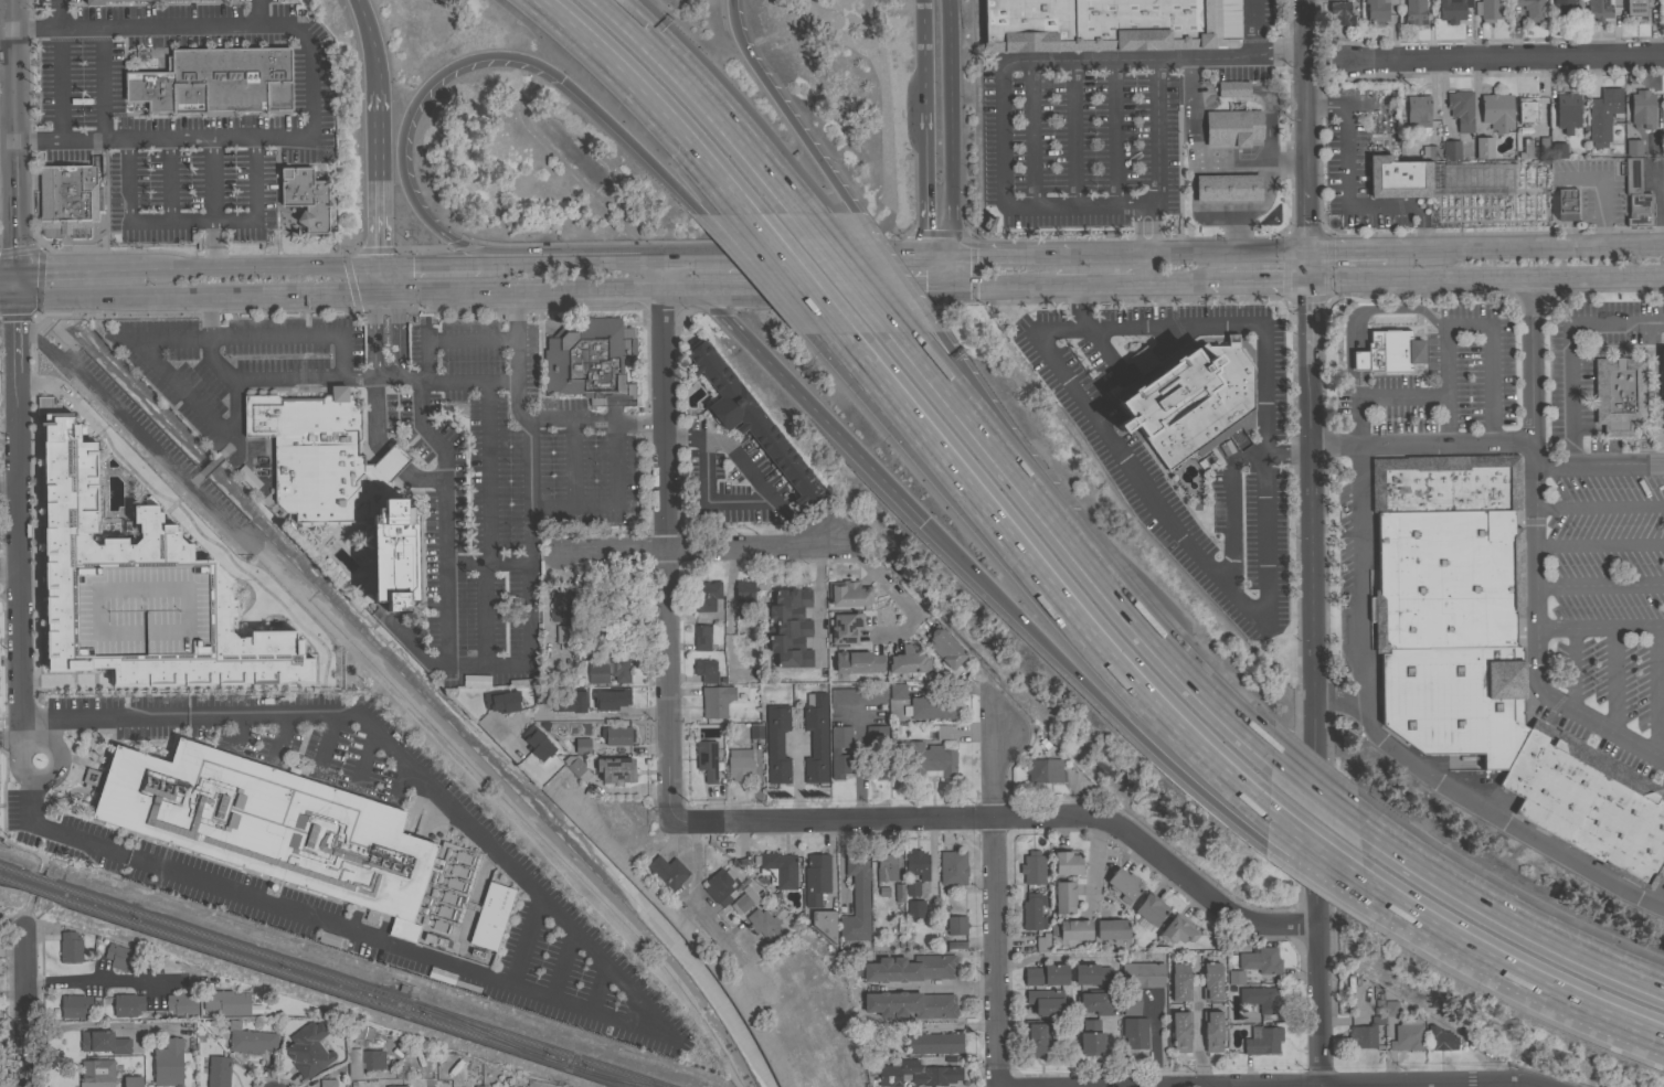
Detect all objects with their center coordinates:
building: (178, 0)
building: (81, 4)
building: (1635, 8)
building: (1378, 9)
building: (1531, 9)
building: (1598, 9)
building: (1452, 10)
building: (1487, 10)
building: (1564, 10)
road: (259, 11)
building: (1414, 11)
road: (56, 12)
building: (1339, 12)
building: (1663, 12)
building: (1095, 24)
road: (1254, 25)
road: (299, 30)
road: (372, 43)
road: (1229, 55)
road: (1503, 58)
road: (456, 61)
road: (922, 64)
road: (1056, 64)
traffic signals: (561, 77)
road: (99, 81)
building: (215, 81)
road: (56, 82)
building: (1232, 88)
road: (646, 100)
road: (708, 103)
building: (1642, 108)
road: (783, 109)
building: (1461, 109)
building: (1525, 109)
building: (1663, 109)
building: (1418, 110)
building: (1496, 111)
building: (1602, 113)
building: (1567, 114)
road: (7, 116)
road: (947, 127)
building: (1231, 127)
road: (14, 136)
road: (191, 136)
building: (1483, 147)
building: (1633, 147)
building: (1663, 147)
building: (1450, 149)
building: (1525, 149)
building: (1557, 149)
building: (1430, 151)
road: (377, 177)
building: (1397, 177)
road: (212, 178)
road: (167, 179)
building: (1219, 188)
gas station: (1228, 188)
road: (128, 189)
road: (1600, 190)
road: (925, 191)
building: (1488, 193)
building: (1636, 194)
building: (68, 196)
building: (306, 196)
road: (1343, 200)
building: (1566, 203)
road: (1536, 248)
road: (1346, 251)
road: (1396, 251)
road: (1227, 252)
traffic signals: (1308, 252)
road: (1104, 253)
road: (1007, 254)
road: (701, 255)
road: (847, 255)
traffic signals: (950, 255)
traffic signals: (926, 256)
road: (596, 258)
road: (506, 260)
road: (427, 263)
road: (335, 265)
traffic signals: (378, 265)
road: (221, 266)
road: (83, 269)
road: (926, 270)
road: (950, 270)
road: (8, 273)
traffic signals: (17, 273)
road: (794, 274)
road: (849, 274)
road: (894, 274)
road: (755, 275)
road: (1486, 279)
road: (380, 280)
road: (1262, 281)
traffic signals: (1308, 281)
road: (1180, 283)
road: (1138, 284)
road: (17, 285)
road: (1092, 285)
road: (901, 286)
traffic signals: (928, 286)
road: (939, 286)
traffic signals: (950, 286)
road: (1000, 286)
road: (831, 287)
road: (723, 288)
road: (624, 289)
road: (486, 292)
road: (1488, 295)
road: (8, 296)
road: (157, 296)
road: (340, 296)
traffic signals: (382, 296)
traffic signals: (17, 297)
road: (1077, 306)
road: (1365, 308)
road: (1467, 324)
road: (398, 333)
road: (370, 334)
road: (295, 335)
road: (430, 337)
road: (60, 342)
road: (1570, 347)
building: (1388, 352)
building: (589, 358)
road: (212, 361)
building: (1661, 371)
road: (473, 380)
building: (1619, 393)
road: (1378, 394)
building: (1188, 398)
road: (810, 404)
road: (956, 404)
road: (978, 404)
road: (203, 411)
road: (527, 422)
building: (750, 422)
road: (897, 422)
road: (426, 429)
road: (140, 434)
road: (1422, 441)
road: (226, 447)
road: (1287, 455)
road: (211, 462)
road: (1598, 462)
road: (528, 463)
road: (570, 463)
road: (9, 476)
road: (194, 477)
building: (339, 480)
building: (1444, 483)
road: (772, 499)
road: (1323, 503)
road: (1599, 505)
traffic signals: (923, 521)
road: (486, 522)
road: (664, 536)
road: (1313, 543)
road: (1599, 543)
road: (699, 548)
road: (1535, 554)
road: (1520, 562)
road: (487, 563)
road: (9, 569)
road: (1358, 575)
building: (1445, 579)
road: (1046, 580)
road: (1266, 580)
road: (19, 583)
road: (1600, 584)
building: (626, 585)
building: (139, 592)
road: (892, 592)
building: (849, 593)
building: (707, 595)
building: (744, 598)
road: (819, 601)
building: (560, 604)
parking lot: (1597, 604)
road: (727, 609)
road: (1138, 617)
building: (612, 625)
road: (1600, 626)
building: (791, 627)
building: (844, 628)
building: (562, 637)
building: (701, 637)
building: (746, 640)
building: (942, 647)
building: (582, 653)
building: (907, 660)
building: (857, 662)
road: (1066, 663)
road: (507, 664)
road: (1573, 667)
building: (704, 669)
building: (618, 670)
building: (596, 673)
road: (1613, 678)
building: (82, 681)
building: (897, 690)
road: (1655, 691)
building: (540, 694)
building: (858, 695)
building: (610, 699)
building: (719, 699)
building: (501, 700)
building: (1455, 700)
building: (570, 702)
building: (897, 708)
building: (928, 708)
road: (586, 713)
building: (755, 731)
building: (941, 732)
building: (616, 735)
building: (815, 736)
road: (277, 737)
road: (9, 738)
building: (536, 743)
building: (776, 744)
building: (580, 746)
building: (878, 747)
building: (835, 750)
road: (361, 756)
road: (399, 756)
building: (706, 758)
building: (931, 760)
building: (739, 764)
building: (572, 765)
road: (860, 765)
building: (614, 770)
building: (1043, 770)
road: (796, 777)
road: (1315, 788)
building: (1588, 802)
road: (509, 811)
road: (1478, 813)
road: (1, 817)
road: (1014, 817)
building: (267, 823)
road: (1318, 850)
road: (1091, 861)
building: (1067, 862)
building: (916, 863)
building: (886, 866)
building: (780, 867)
building: (953, 867)
building: (1032, 867)
building: (668, 871)
building: (816, 877)
building: (1123, 884)
building: (719, 885)
building: (912, 887)
building: (899, 892)
building: (856, 897)
building: (1063, 897)
building: (744, 899)
road: (998, 900)
road: (698, 905)
building: (914, 908)
building: (1151, 908)
building: (1031, 909)
road: (1508, 910)
building: (763, 923)
building: (824, 923)
road: (11, 925)
road: (22, 925)
building: (956, 925)
road: (330, 926)
building: (1111, 928)
building: (1071, 929)
building: (1178, 929)
building: (1041, 942)
building: (952, 946)
building: (70, 947)
building: (120, 957)
building: (1261, 960)
building: (910, 968)
road: (1515, 969)
building: (1091, 973)
building: (1046, 974)
building: (1142, 974)
railway: (333, 976)
building: (1236, 977)
road: (100, 978)
railway: (317, 981)
building: (1211, 981)
building: (1178, 982)
road: (932, 987)
building: (1046, 1001)
building: (1261, 1001)
building: (226, 1002)
building: (1093, 1002)
building: (1131, 1002)
building: (181, 1003)
building: (127, 1004)
building: (910, 1004)
building: (75, 1005)
building: (1170, 1008)
building: (1390, 1008)
road: (22, 1010)
road: (99, 1026)
building: (1211, 1030)
building: (1179, 1031)
building: (1134, 1032)
building: (361, 1033)
building: (1361, 1034)
building: (1407, 1034)
road: (1197, 1035)
building: (1035, 1037)
building: (1091, 1037)
building: (250, 1038)
building: (1440, 1038)
building: (1262, 1040)
building: (103, 1042)
building: (933, 1042)
building: (308, 1048)
building: (372, 1058)
building: (168, 1062)
building: (218, 1070)
building: (913, 1072)
building: (97, 1073)
building: (133, 1081)
building: (327, 1083)
road: (1276, 1083)
road: (1000, 1084)
road: (433, 1085)
building: (396, 1086)

